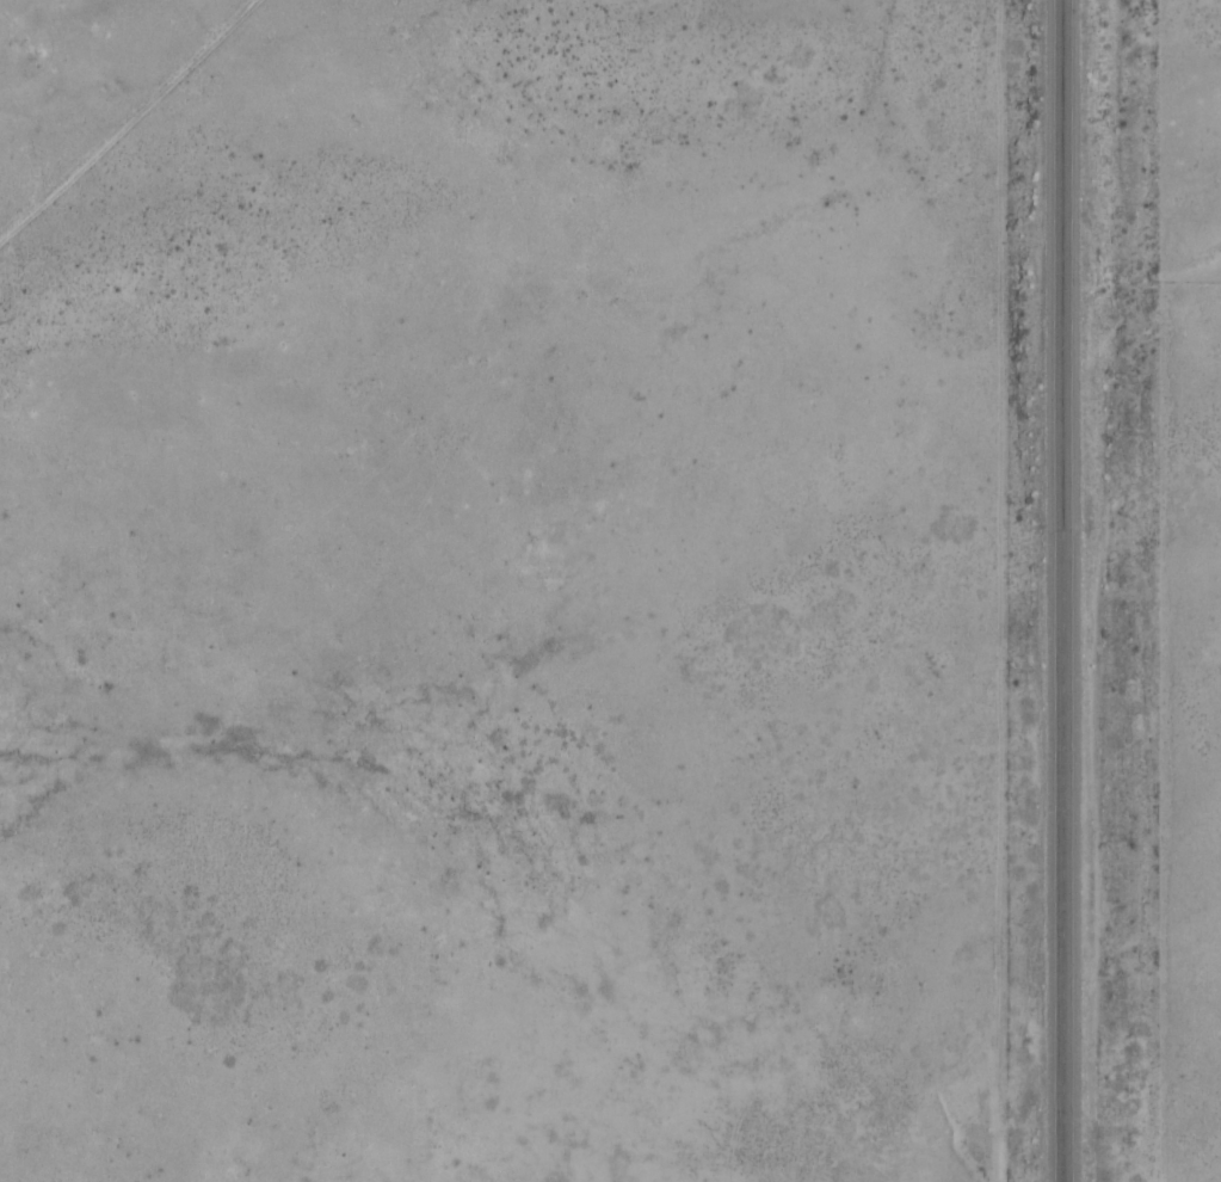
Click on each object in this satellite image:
road: (1077, 591)

